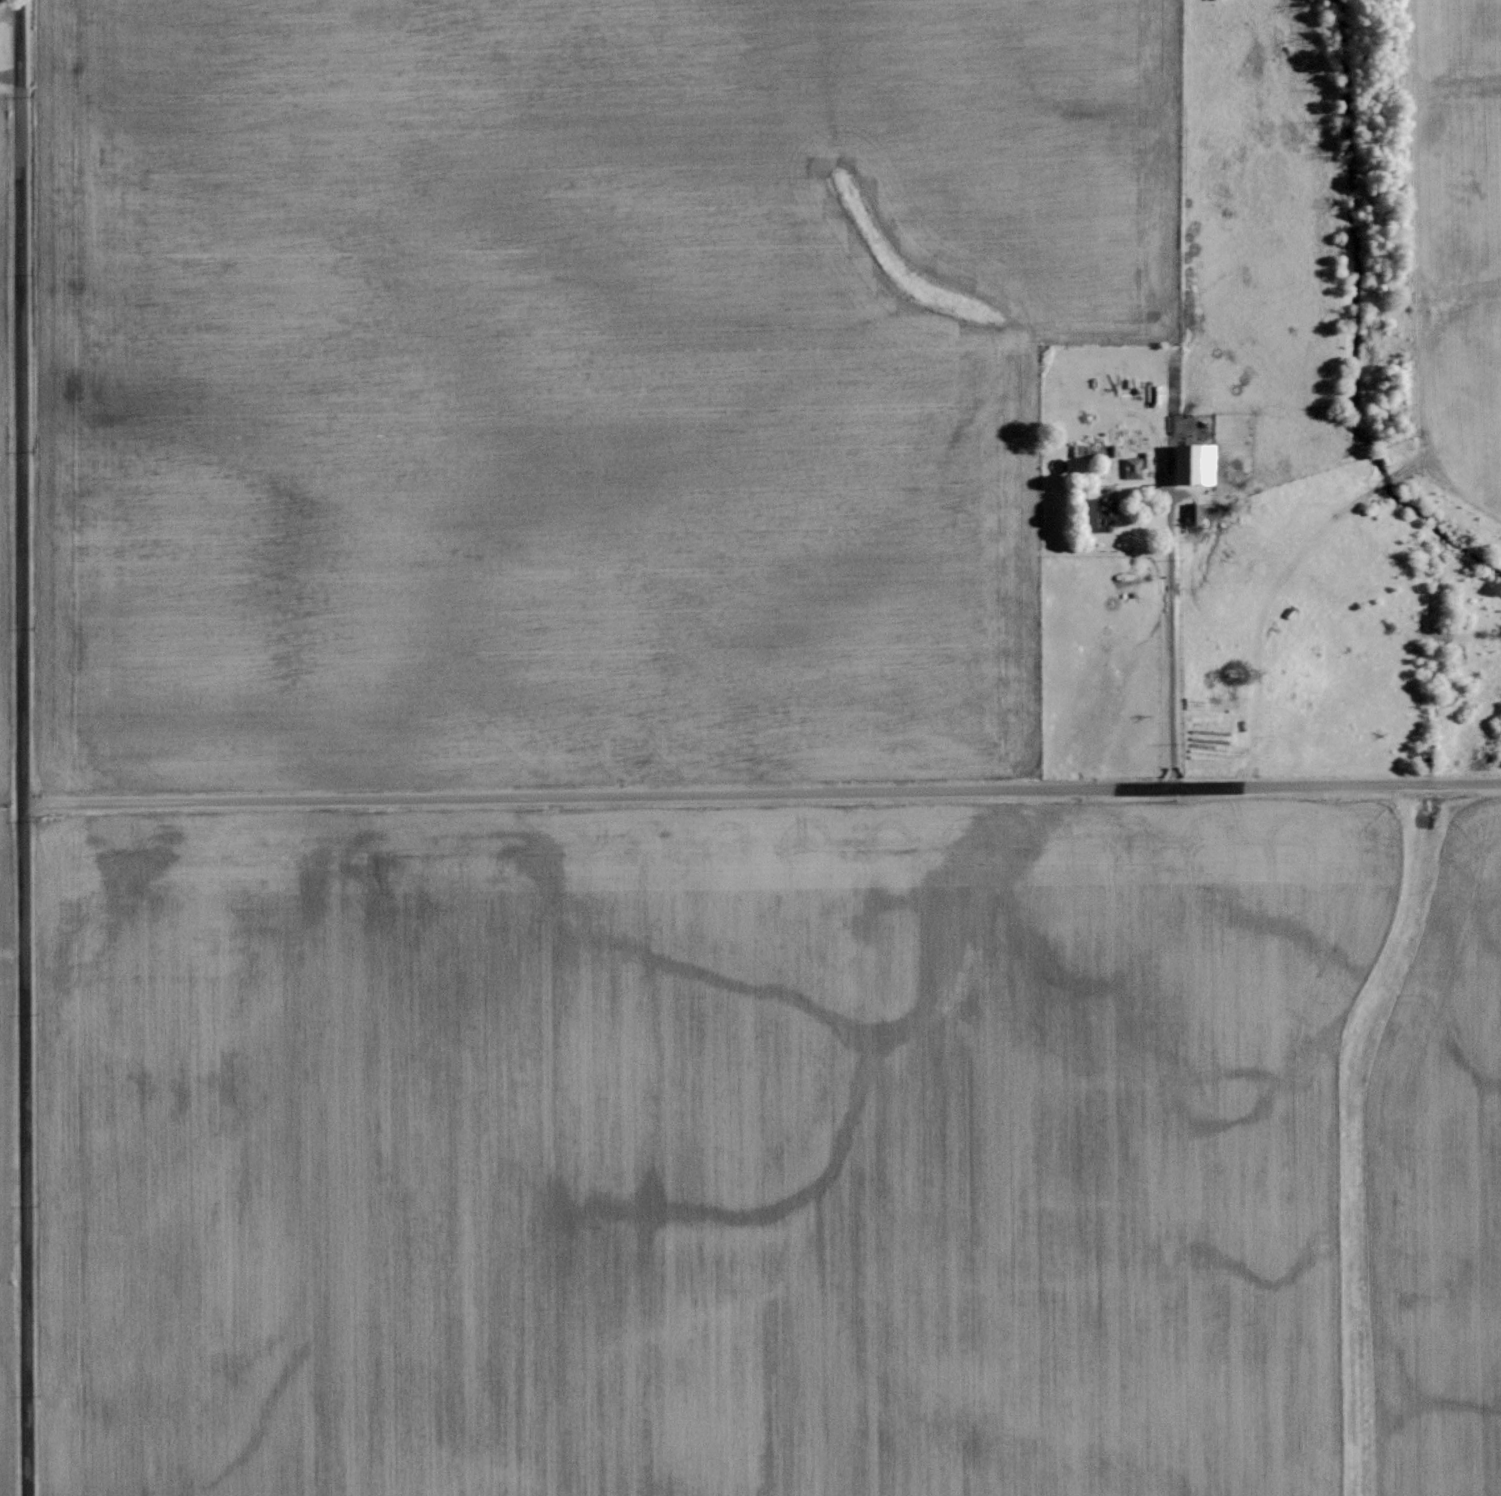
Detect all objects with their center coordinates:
building: (1094, 450)
building: (1192, 463)
building: (1132, 466)
building: (1193, 512)
building: (1105, 514)
road: (21, 747)
road: (761, 792)

